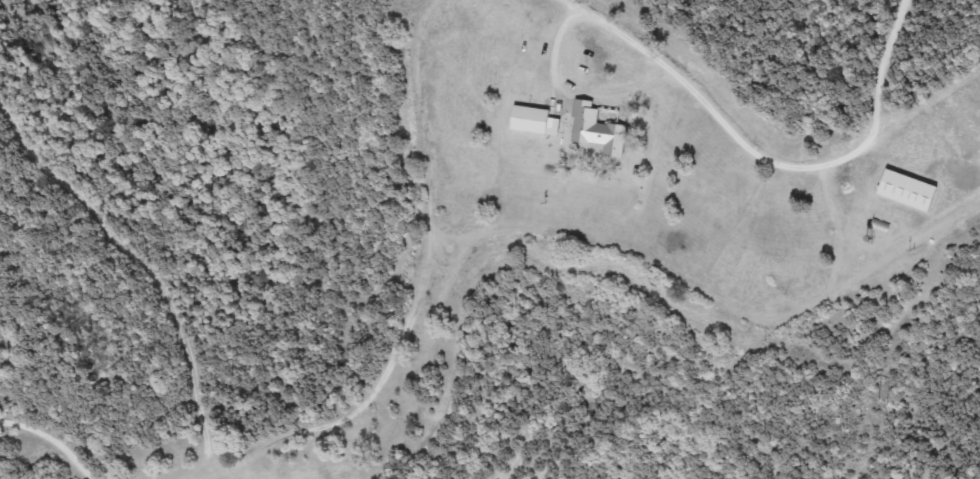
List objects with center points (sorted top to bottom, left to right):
building: (538, 122)
building: (601, 130)
building: (910, 191)
power tower: (880, 403)

